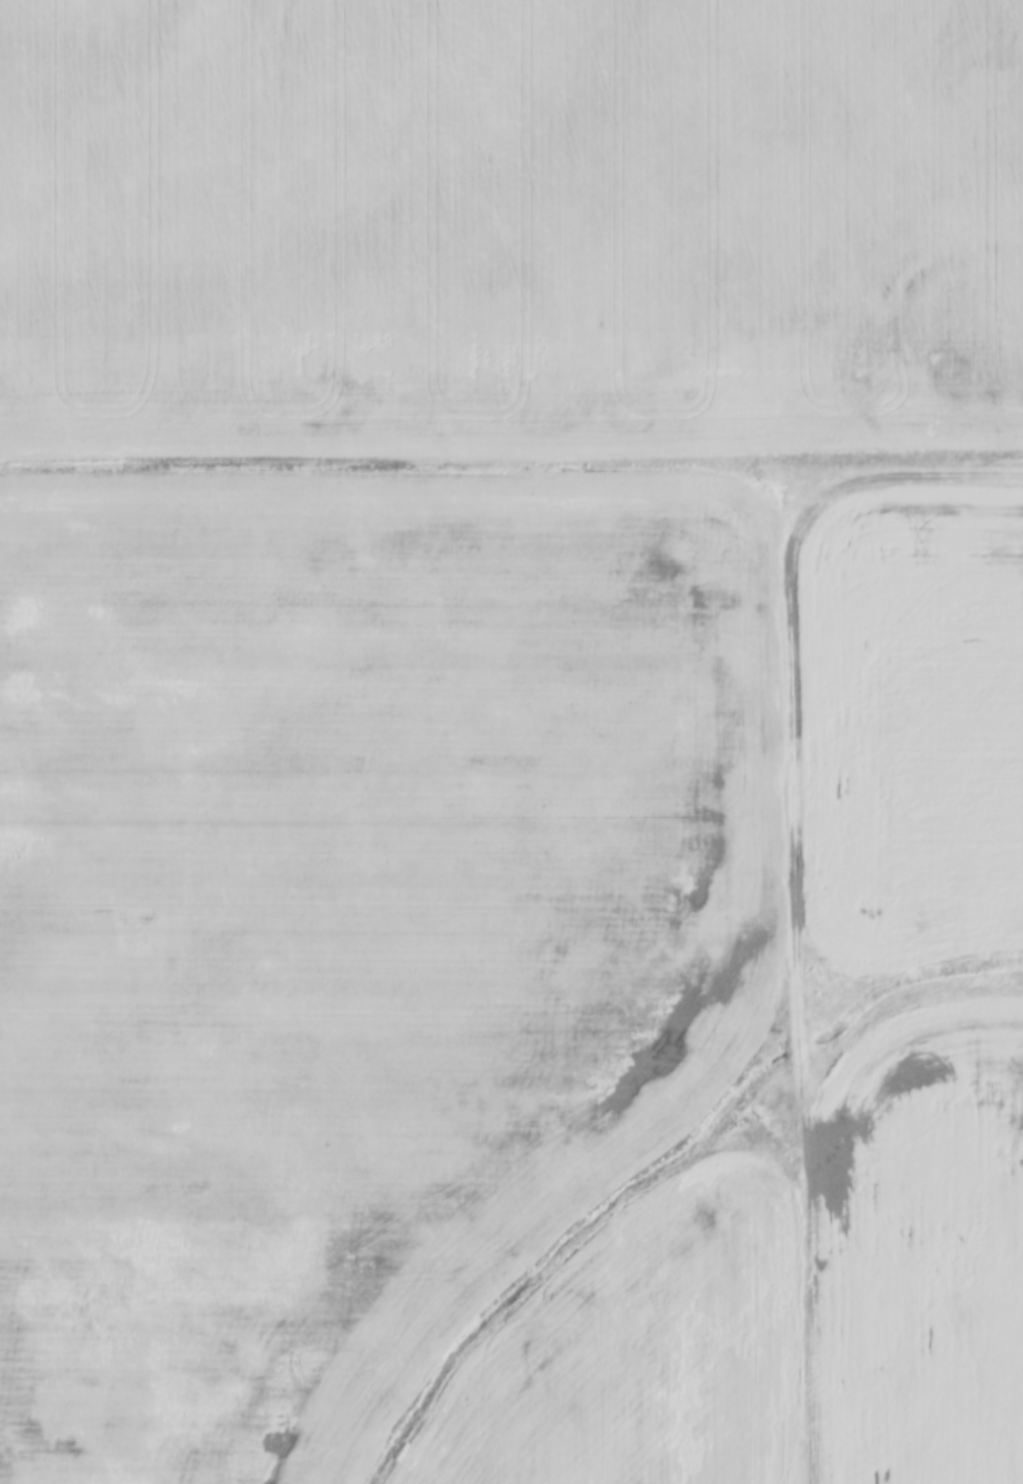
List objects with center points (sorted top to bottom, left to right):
road: (793, 728)

